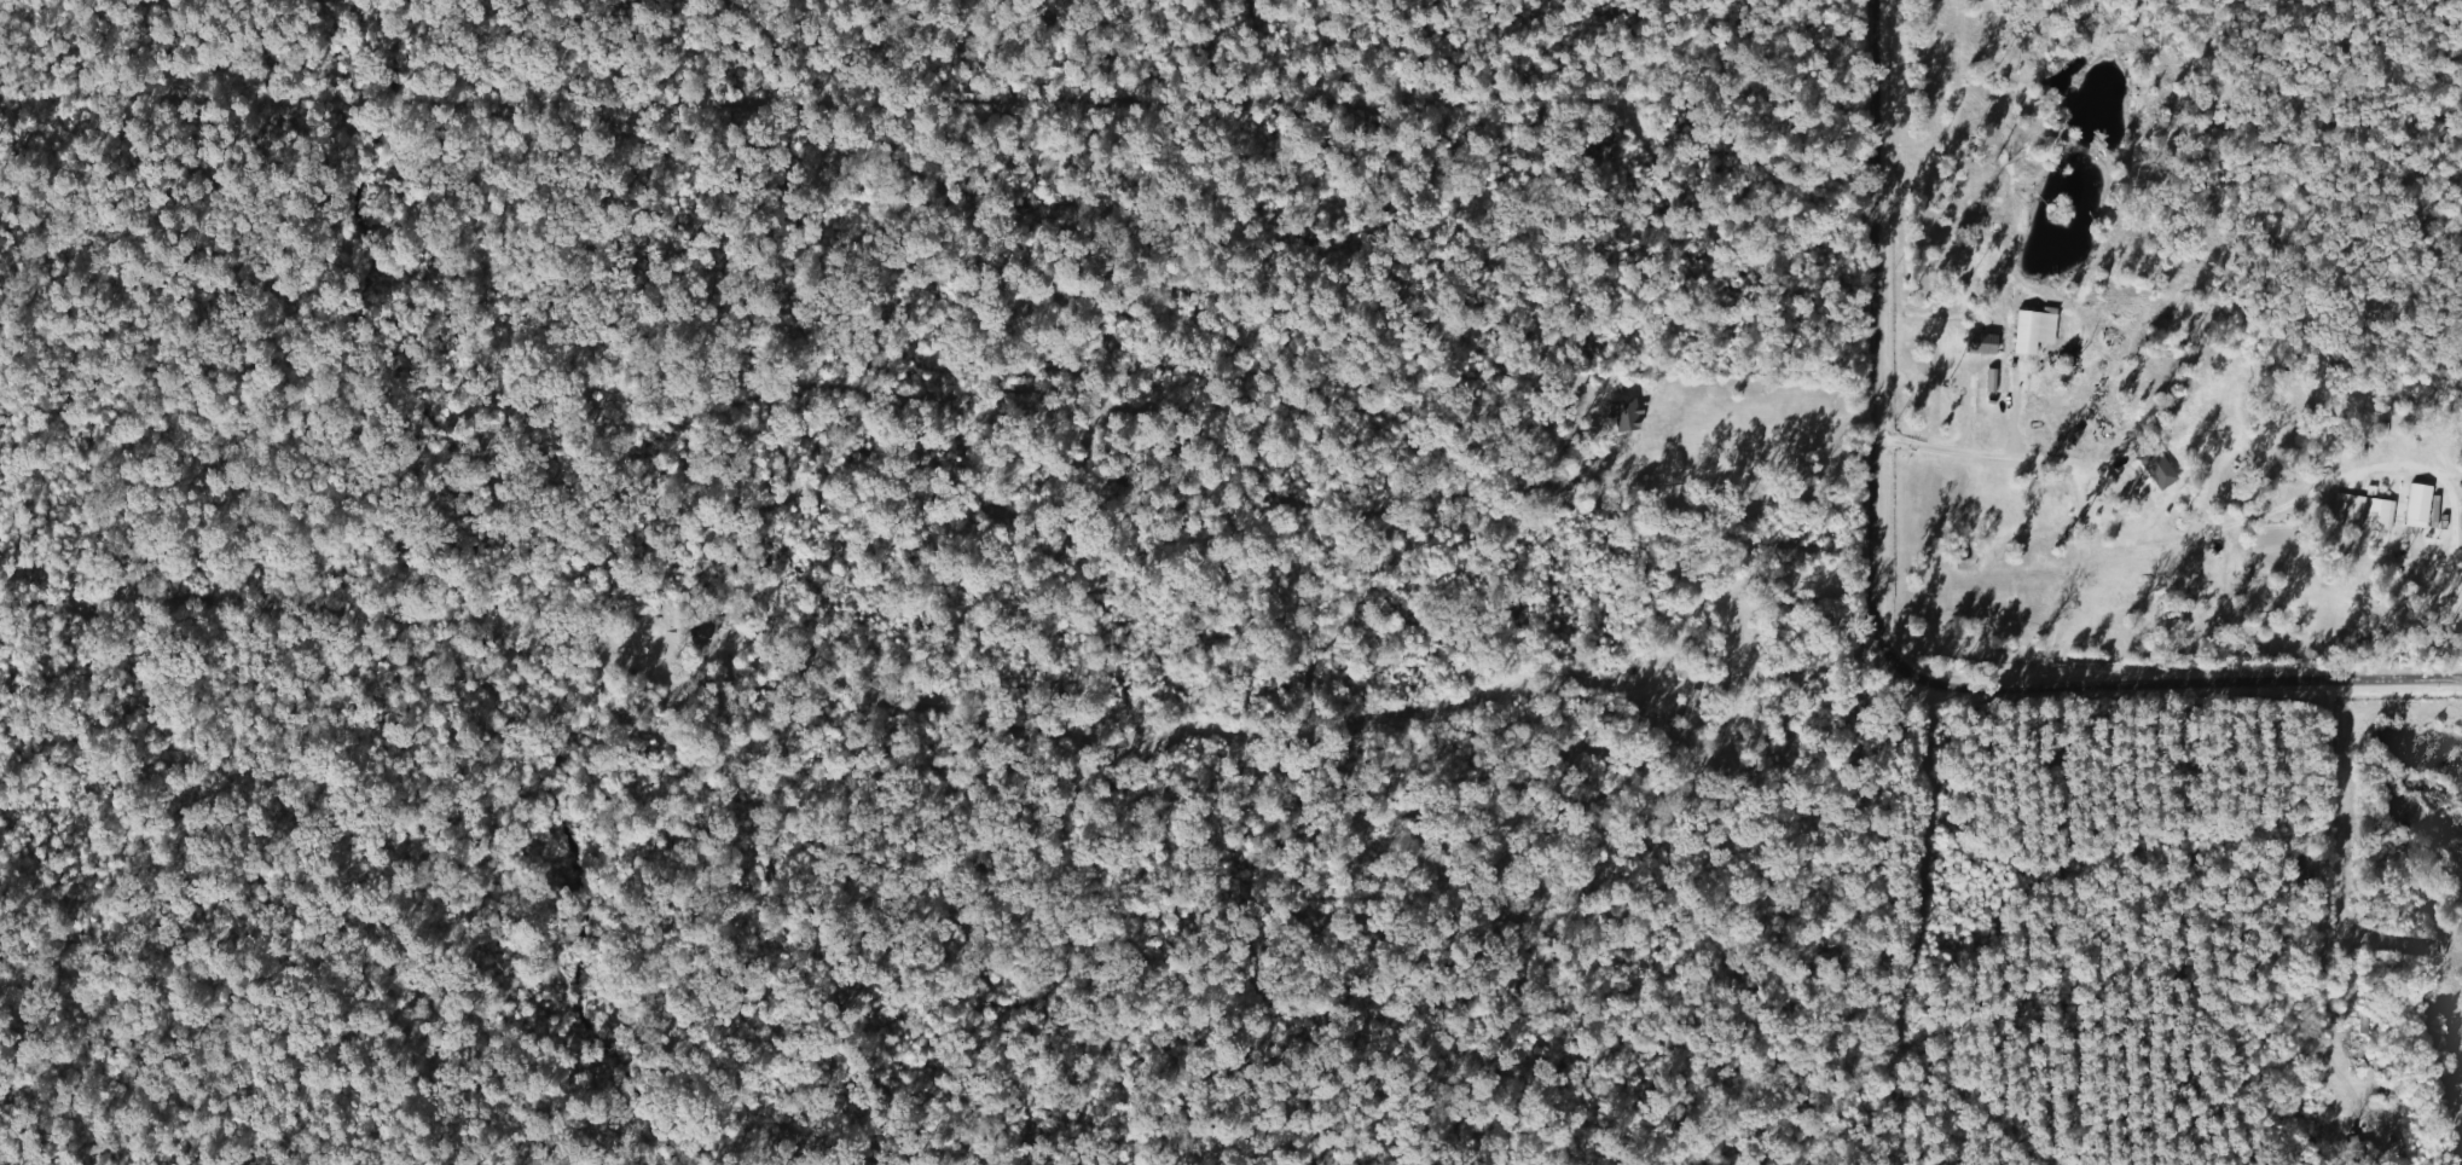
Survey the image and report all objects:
building: (1979, 343)
road: (2005, 457)
building: (2157, 468)
building: (2374, 512)
road: (2439, 558)
road: (2086, 585)
road: (1884, 616)
road: (2315, 899)

